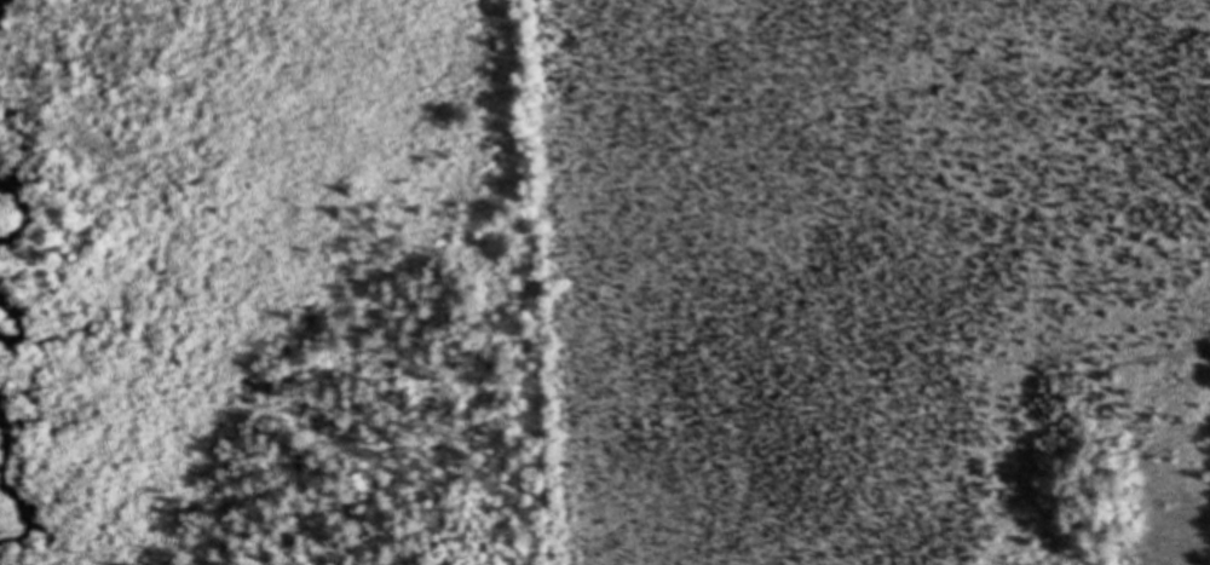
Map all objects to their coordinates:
river: (29, 215)
road: (537, 282)
river: (22, 325)
river: (17, 489)

